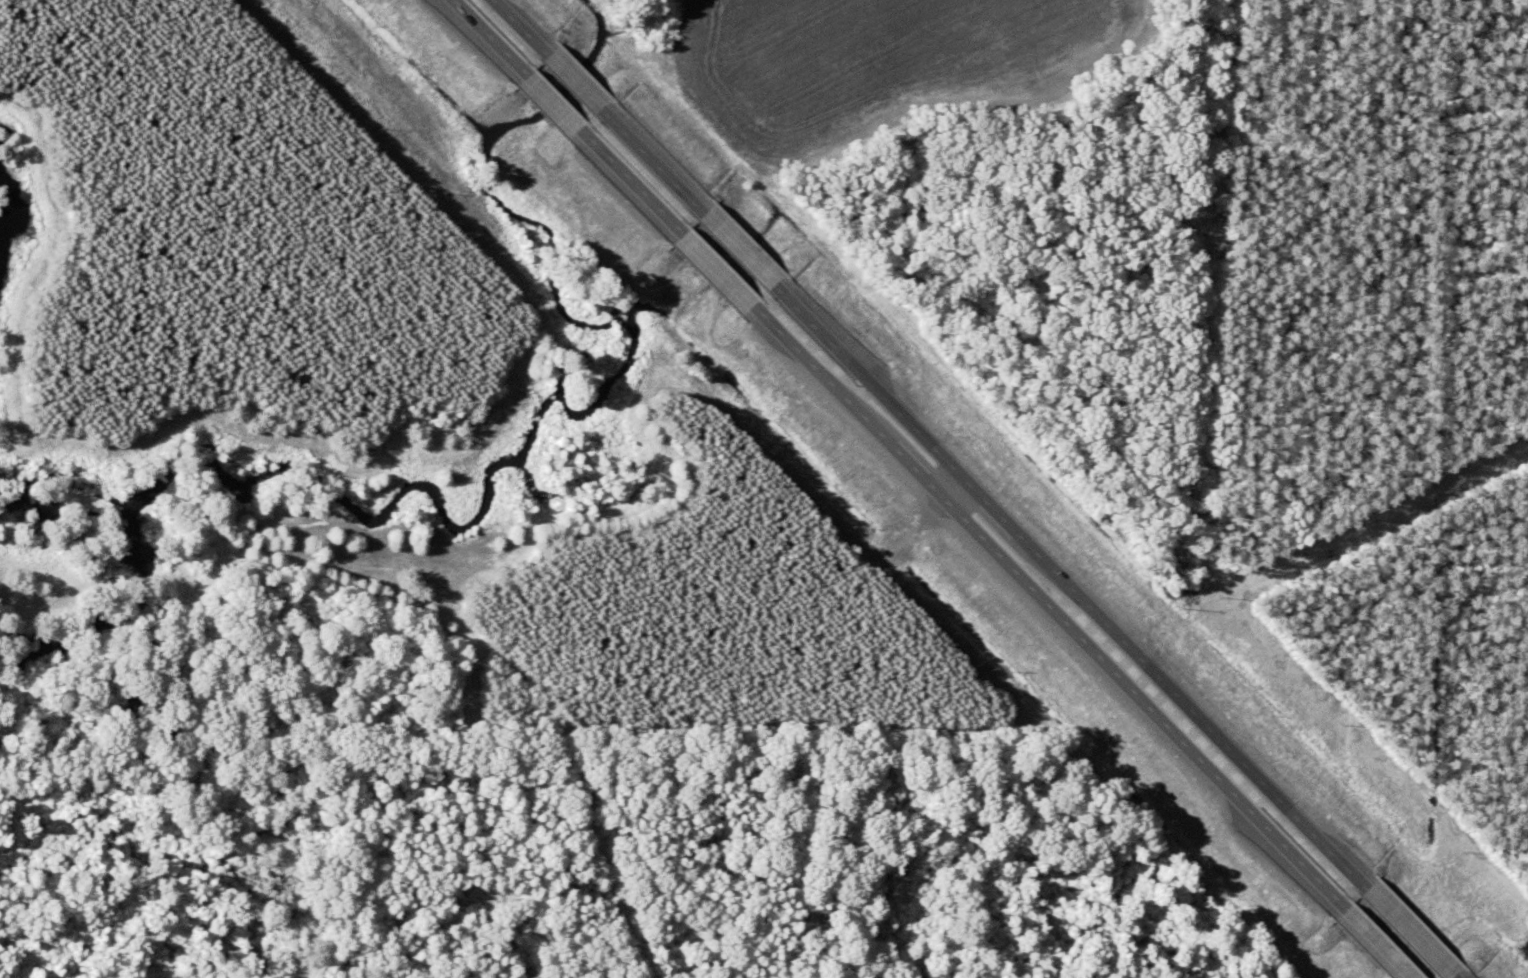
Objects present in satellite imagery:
road: (516, 29)
road: (484, 40)
road: (572, 86)
road: (550, 107)
road: (651, 165)
road: (629, 186)
road: (737, 252)
road: (716, 274)
road: (951, 492)
road: (1067, 590)
road: (1048, 609)
road: (1406, 935)
road: (1375, 945)

